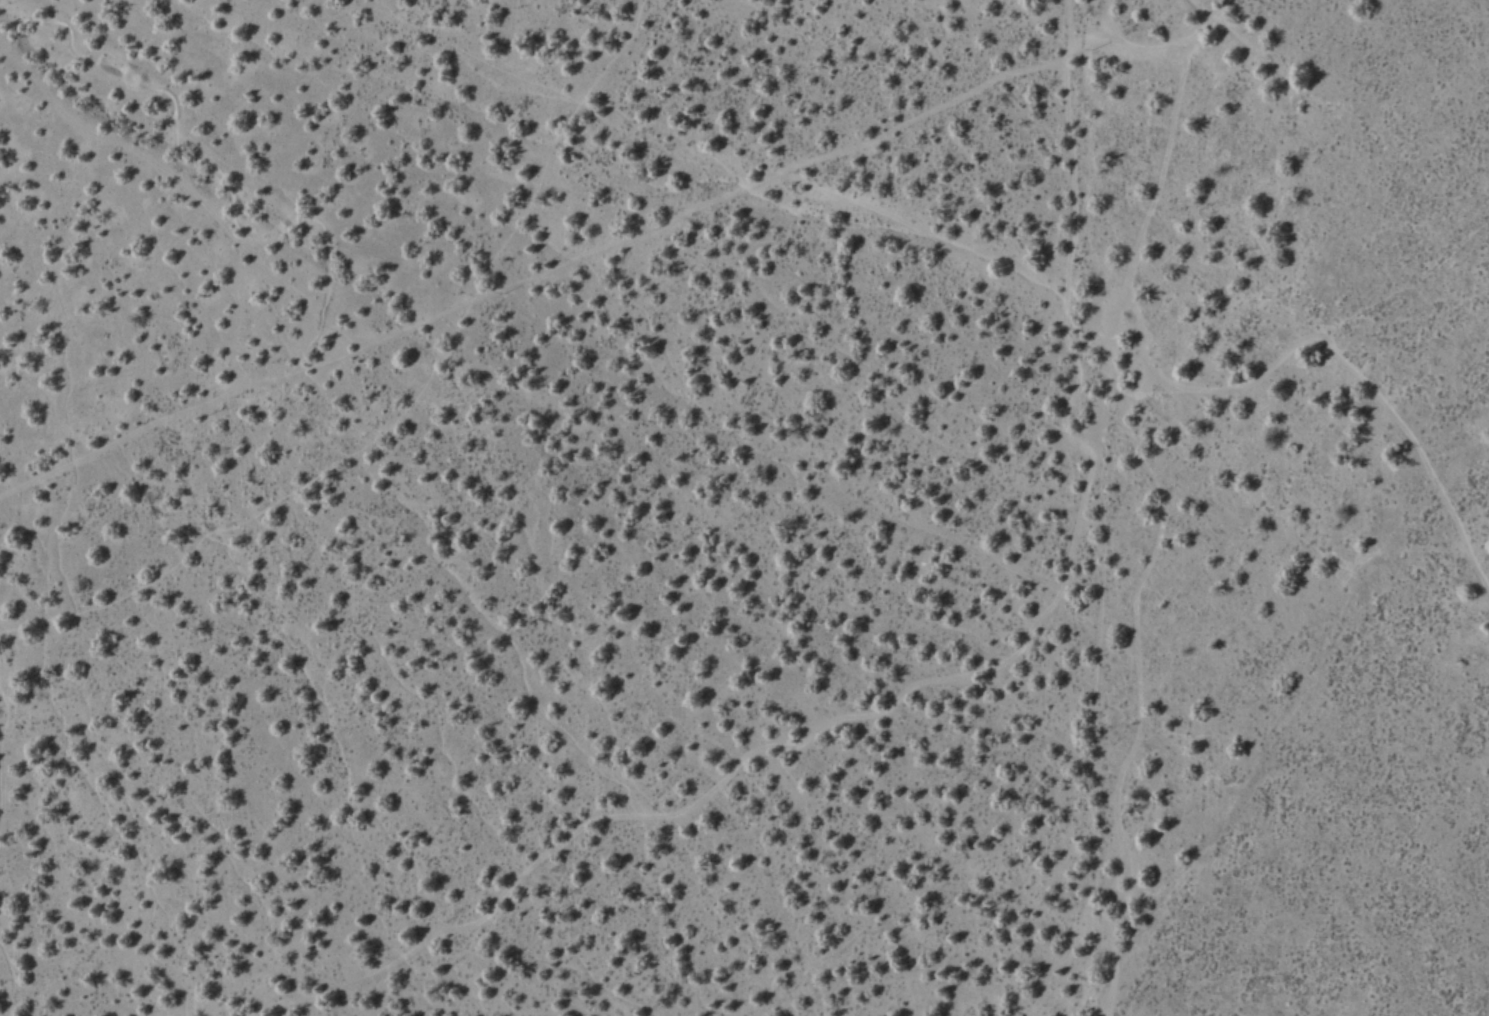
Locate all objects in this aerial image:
road: (188, 166)
road: (534, 275)
road: (304, 352)
road: (406, 404)

